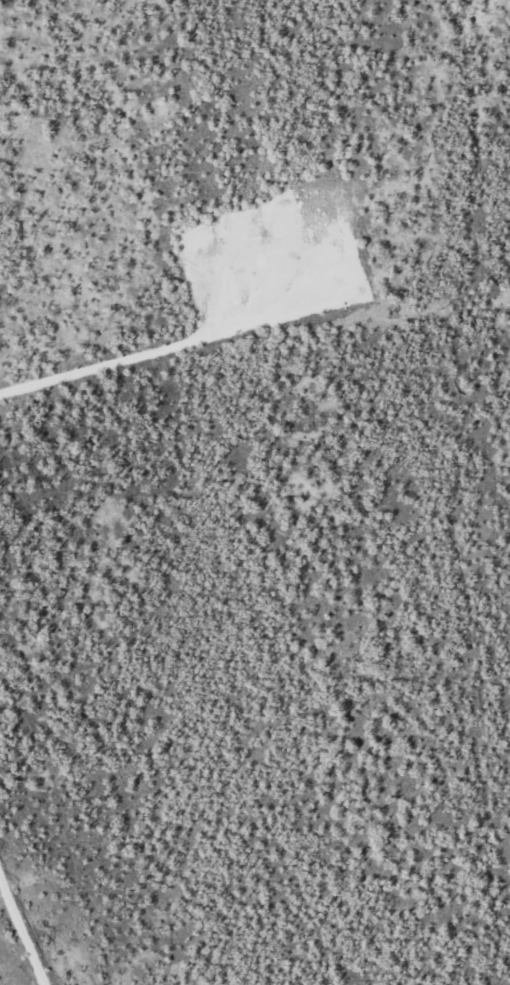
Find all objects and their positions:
road: (47, 754)

